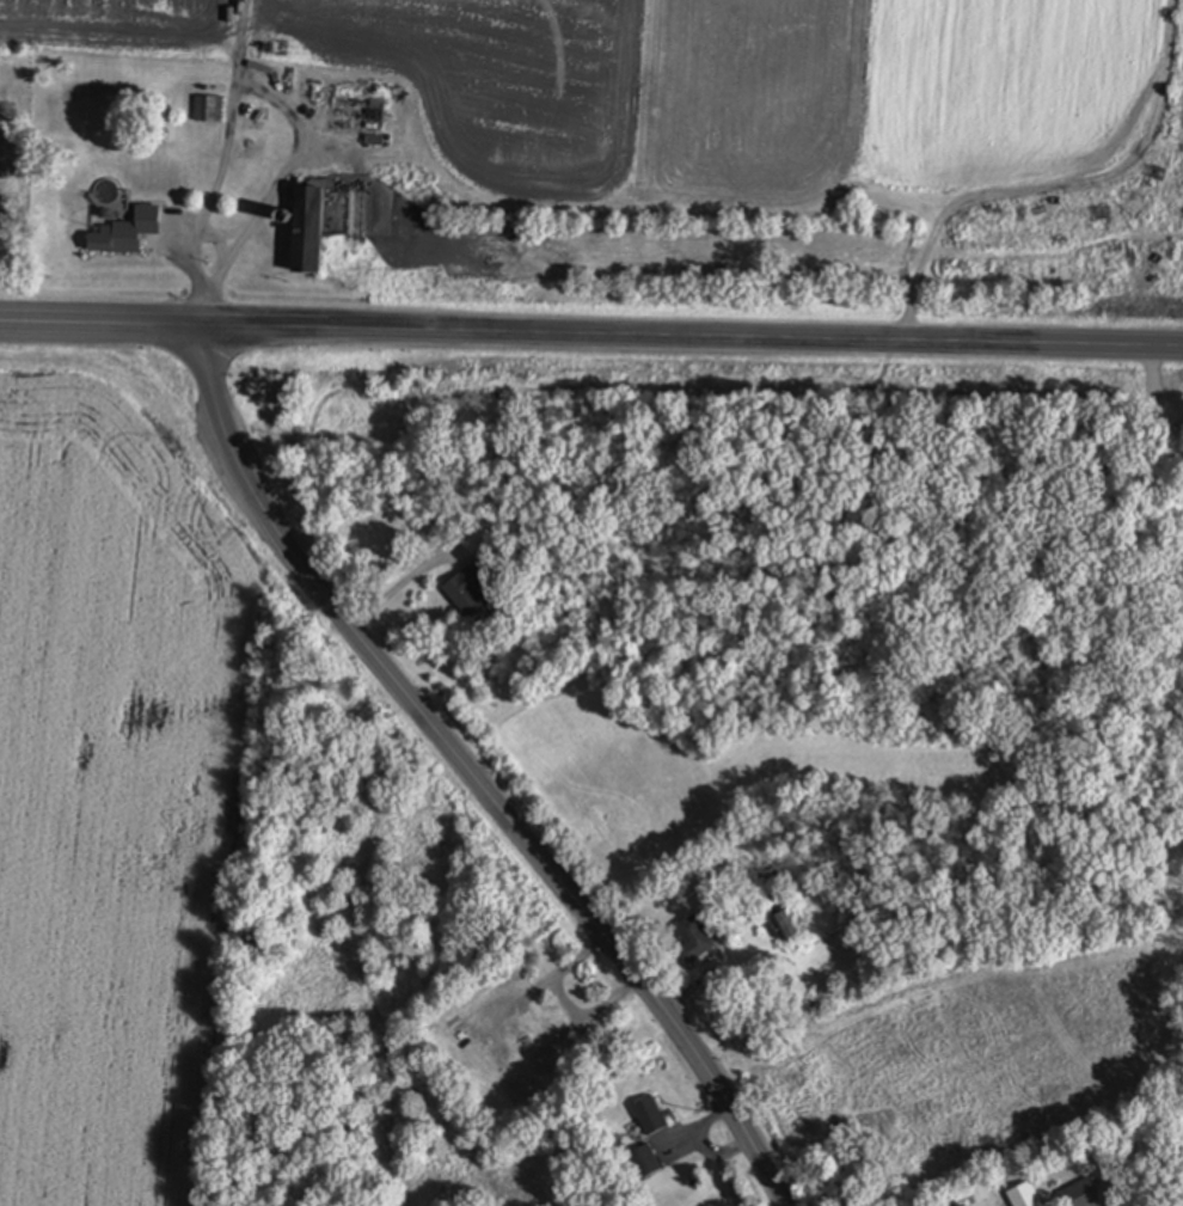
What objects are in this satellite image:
road: (280, 104)
building: (357, 115)
building: (309, 229)
building: (127, 233)
road: (81, 325)
road: (673, 337)
road: (398, 589)
building: (468, 592)
road: (467, 769)
building: (784, 929)
building: (694, 941)
building: (650, 1118)
building: (645, 1163)
building: (1080, 1195)
building: (1025, 1196)

